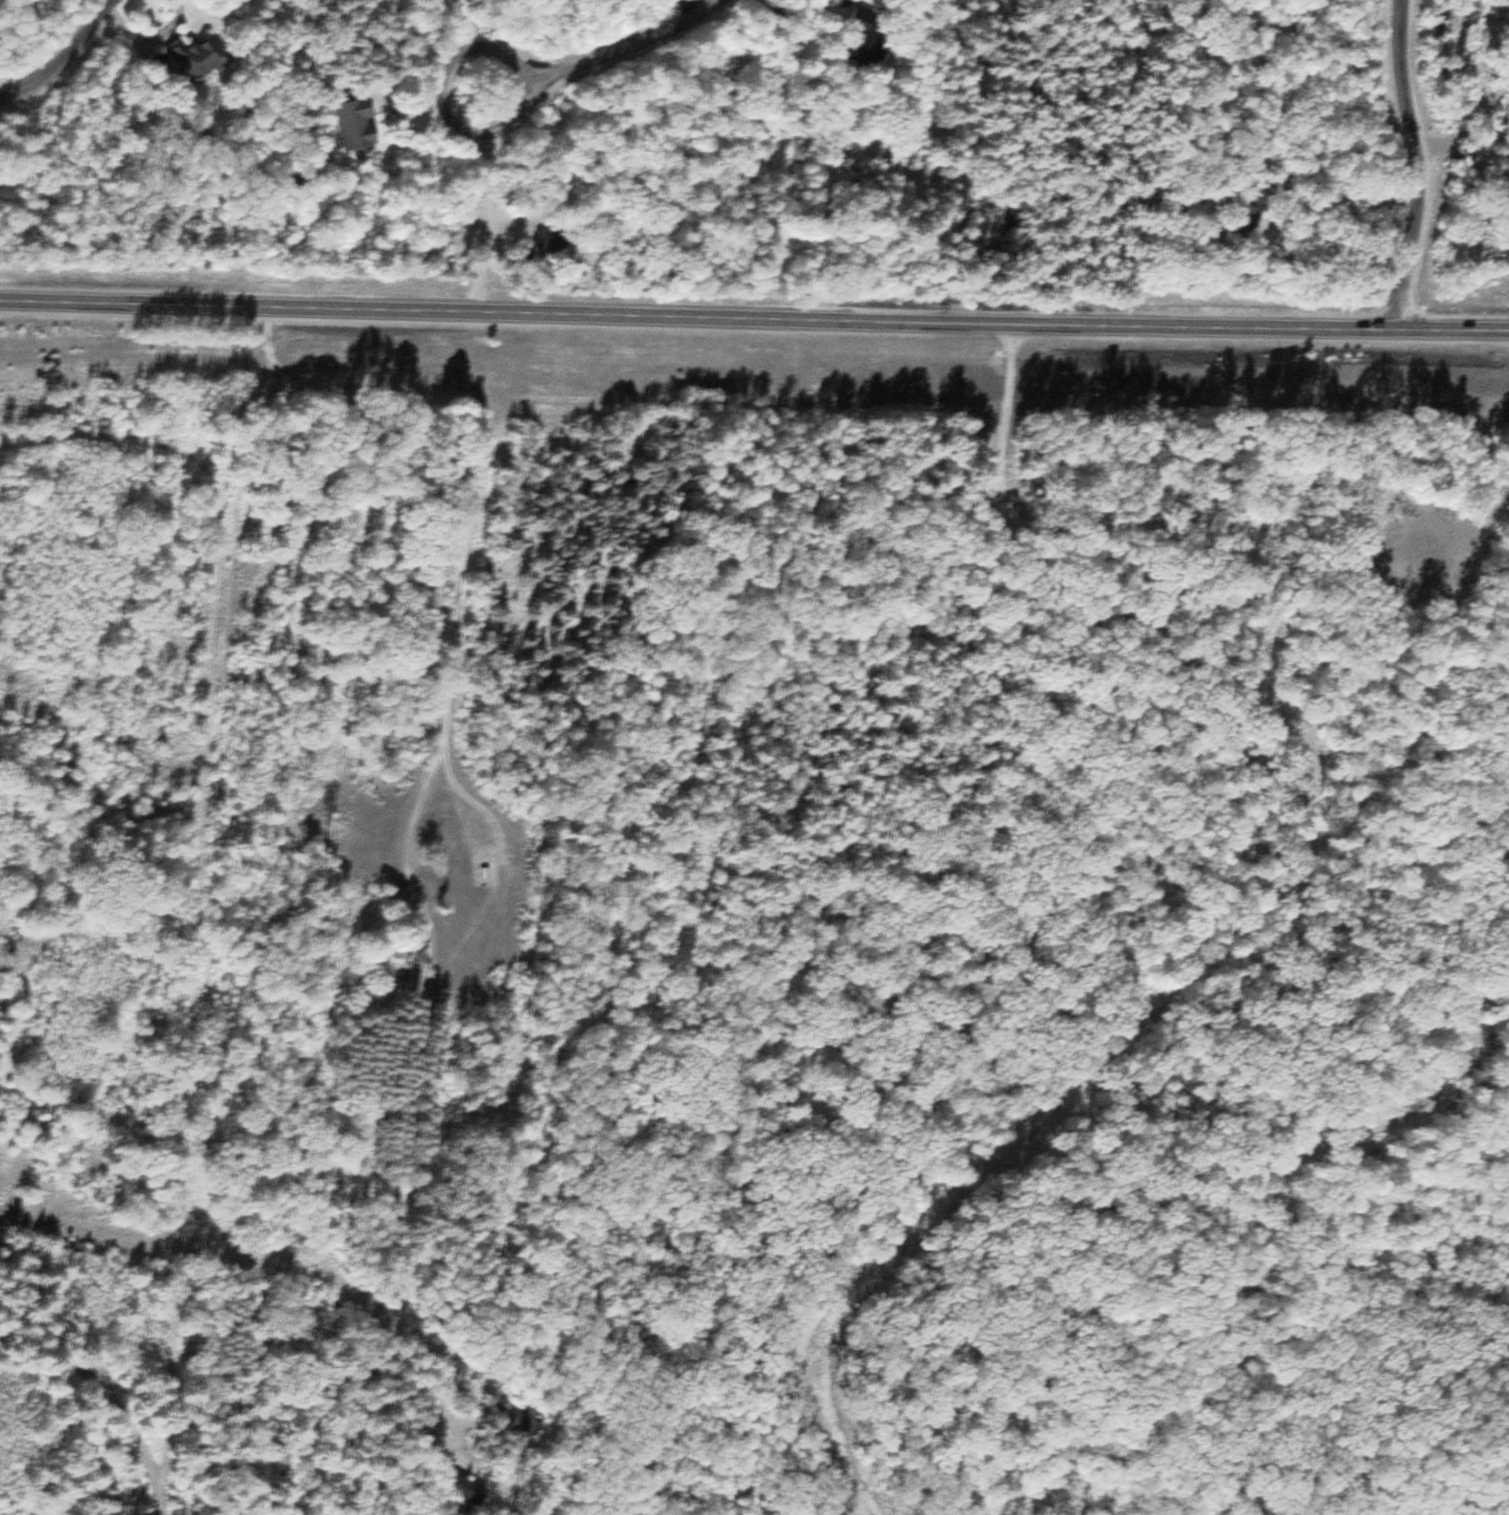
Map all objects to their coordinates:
building: (849, 53)
road: (595, 55)
building: (183, 56)
road: (65, 59)
building: (341, 122)
road: (1426, 165)
building: (1232, 221)
road: (754, 322)
road: (421, 785)
petroleum well: (481, 823)
building: (484, 869)
road: (201, 874)
road: (1271, 904)
road: (464, 1386)
road: (113, 1395)

